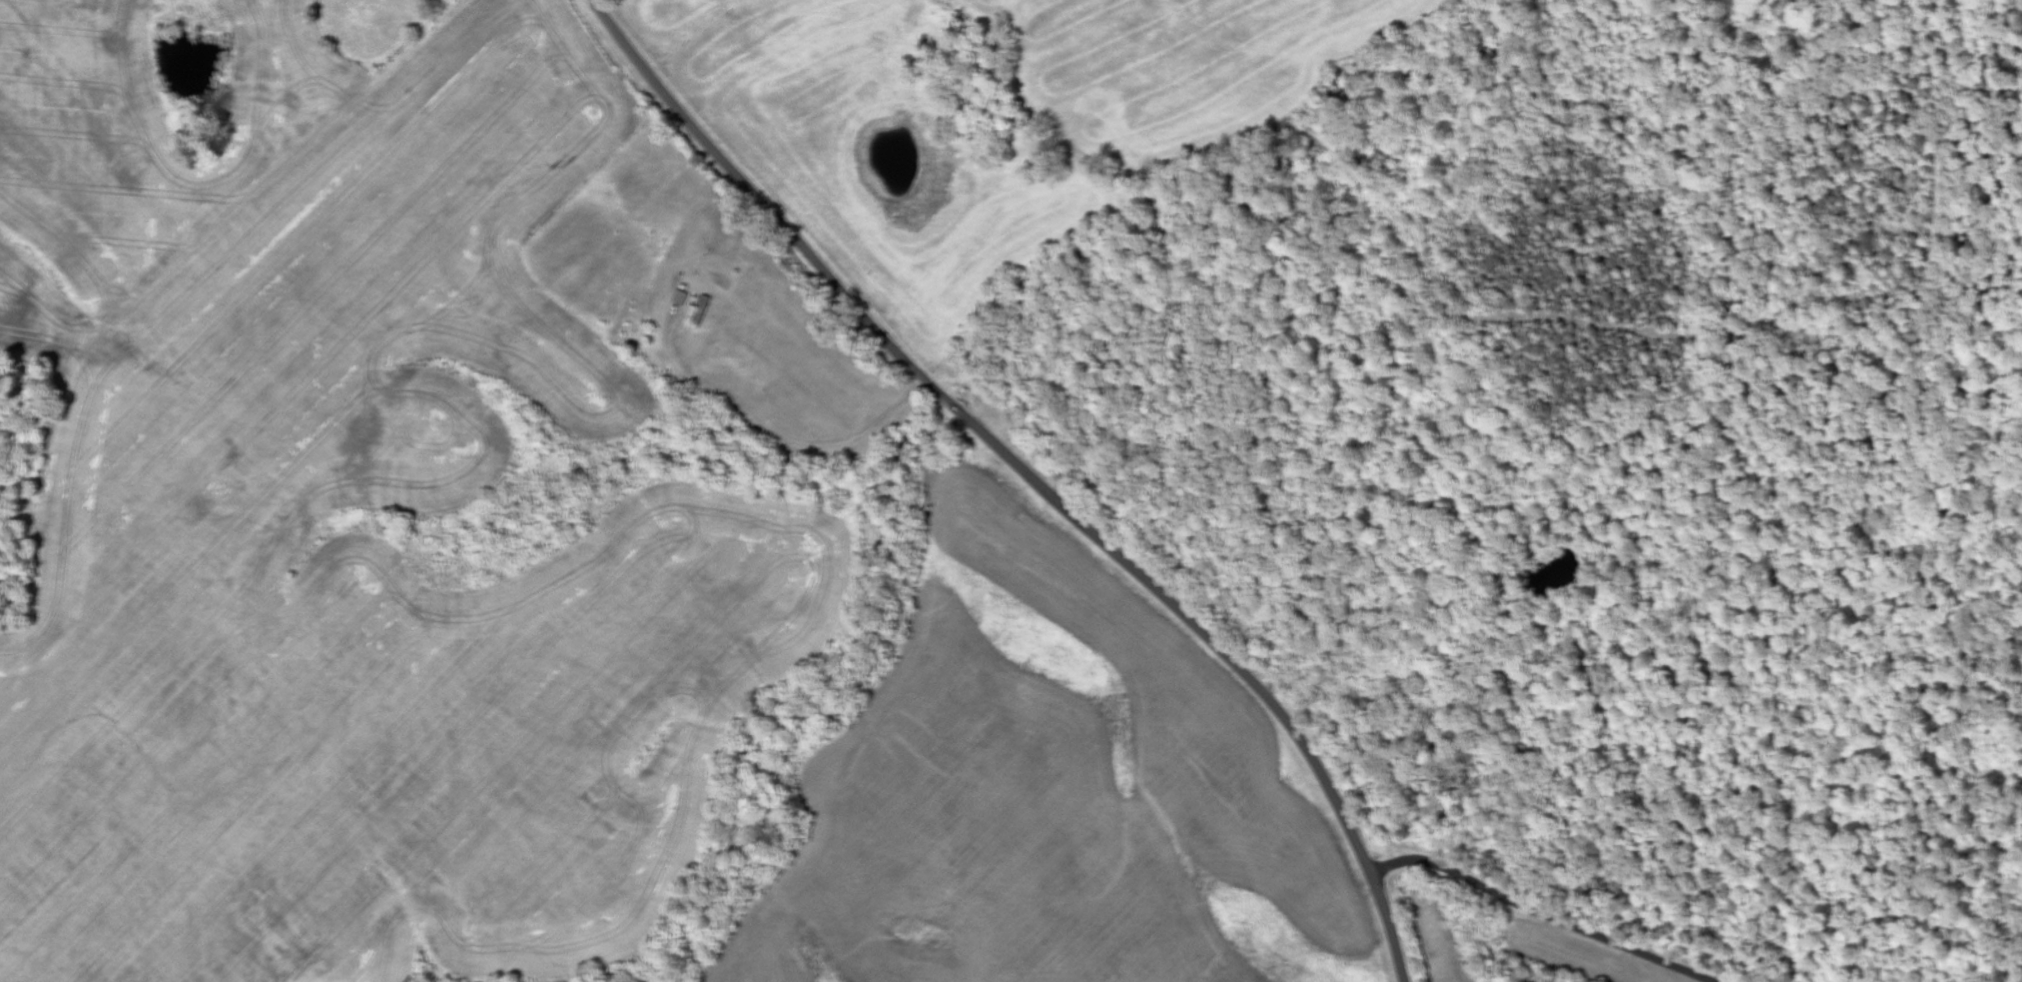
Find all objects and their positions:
building: (683, 298)
building: (702, 311)
road: (1029, 474)
road: (1542, 914)

